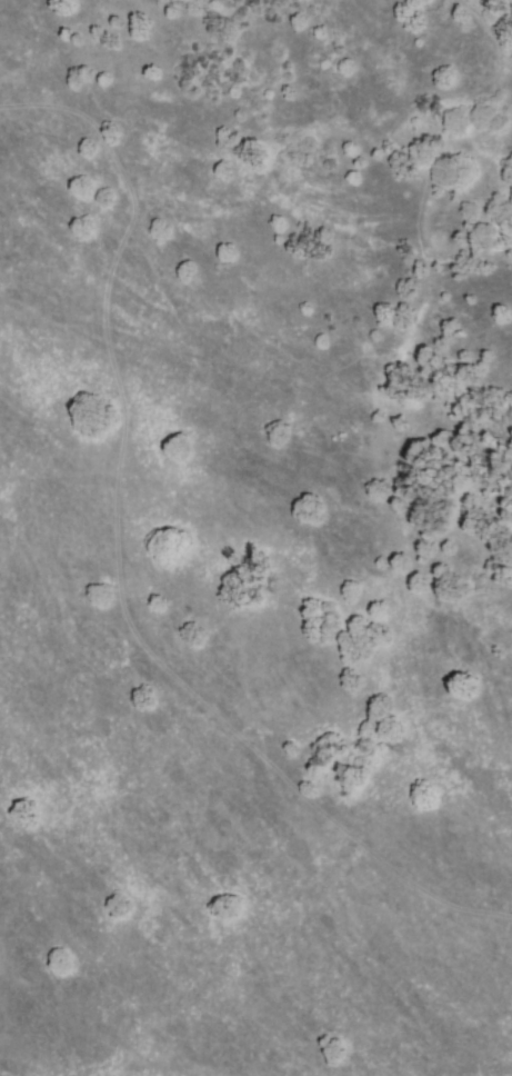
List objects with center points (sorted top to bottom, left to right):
road: (110, 560)

